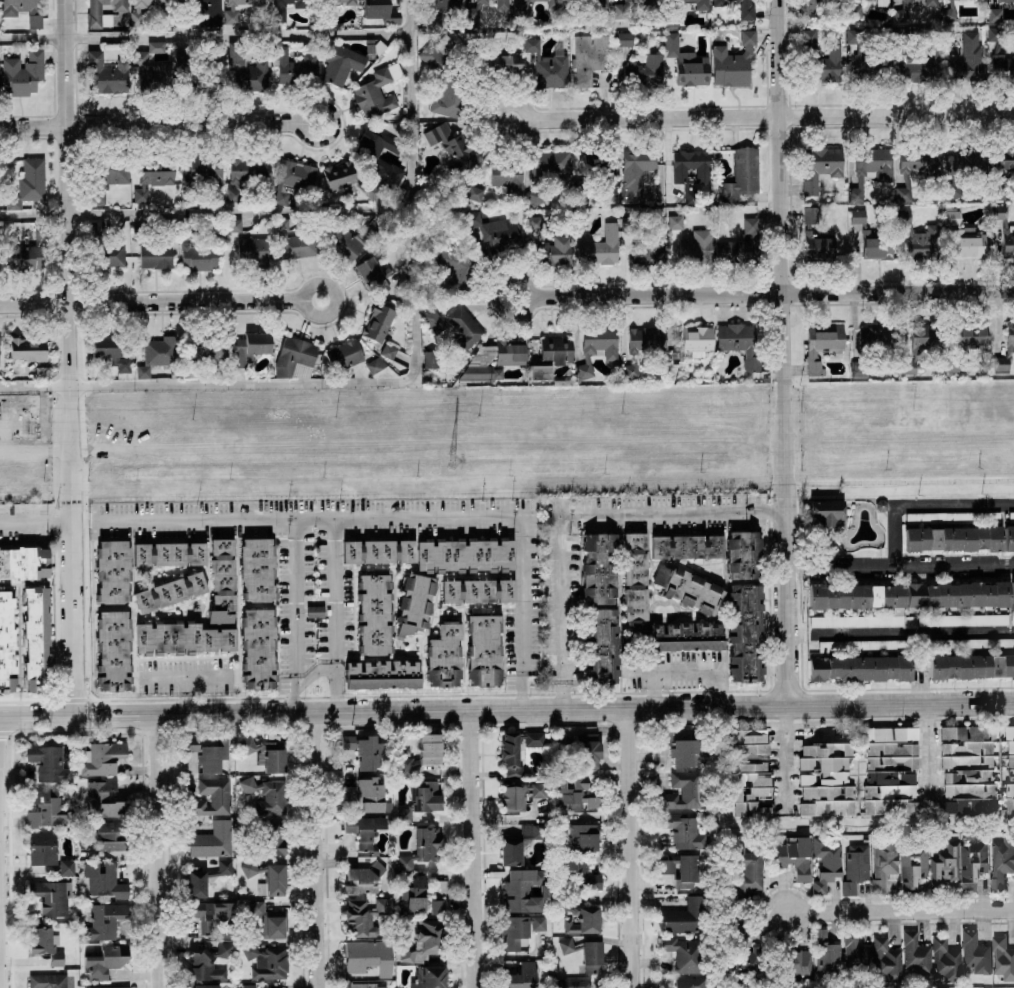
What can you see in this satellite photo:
building: (530, 0)
building: (1006, 0)
building: (719, 2)
building: (883, 2)
building: (552, 3)
building: (931, 3)
building: (502, 4)
building: (701, 4)
building: (809, 5)
building: (285, 8)
building: (625, 8)
building: (521, 9)
building: (746, 9)
building: (853, 9)
building: (382, 11)
building: (473, 11)
building: (902, 12)
building: (199, 13)
building: (327, 13)
building: (570, 13)
building: (949, 13)
building: (672, 14)
building: (995, 14)
building: (9, 15)
building: (231, 17)
building: (138, 19)
building: (99, 21)
building: (433, 23)
building: (612, 35)
building: (903, 38)
building: (625, 39)
building: (671, 44)
building: (1000, 54)
building: (588, 57)
building: (819, 57)
building: (868, 58)
building: (348, 60)
building: (967, 60)
building: (733, 61)
building: (503, 62)
building: (296, 64)
building: (548, 65)
building: (921, 65)
building: (198, 66)
building: (247, 68)
building: (154, 69)
building: (645, 71)
building: (692, 71)
building: (23, 73)
building: (108, 73)
building: (445, 77)
building: (377, 91)
road: (769, 118)
road: (524, 121)
road: (330, 122)
road: (149, 124)
building: (401, 127)
building: (452, 147)
building: (1004, 158)
building: (379, 163)
building: (550, 165)
building: (820, 165)
building: (916, 166)
building: (870, 167)
building: (636, 171)
building: (203, 172)
building: (509, 173)
building: (703, 173)
building: (107, 174)
building: (247, 174)
building: (742, 174)
building: (595, 175)
building: (153, 176)
building: (293, 177)
building: (955, 177)
building: (345, 178)
building: (28, 183)
building: (474, 192)
building: (997, 192)
building: (537, 194)
road: (412, 209)
road: (205, 211)
building: (583, 217)
building: (534, 222)
building: (629, 223)
building: (214, 225)
building: (235, 225)
building: (1004, 229)
building: (140, 230)
building: (497, 233)
building: (816, 235)
building: (965, 236)
building: (918, 237)
building: (872, 239)
building: (691, 240)
building: (294, 241)
building: (347, 242)
building: (740, 244)
building: (103, 247)
building: (600, 247)
building: (649, 249)
building: (253, 250)
building: (555, 251)
building: (196, 253)
building: (1, 254)
building: (28, 255)
building: (156, 255)
road: (70, 260)
building: (453, 263)
building: (374, 275)
road: (769, 293)
road: (525, 296)
road: (300, 300)
road: (150, 304)
building: (434, 320)
building: (378, 322)
building: (464, 327)
building: (1010, 336)
building: (645, 339)
building: (967, 342)
building: (693, 343)
building: (742, 343)
building: (922, 343)
building: (823, 345)
building: (597, 346)
building: (872, 346)
building: (250, 347)
building: (27, 348)
building: (206, 348)
building: (388, 350)
building: (110, 351)
road: (786, 352)
building: (158, 354)
building: (294, 354)
building: (344, 354)
building: (548, 354)
building: (983, 355)
building: (430, 359)
building: (510, 359)
building: (375, 364)
building: (188, 370)
building: (630, 370)
building: (42, 372)
building: (765, 378)
power tower: (451, 462)
road: (923, 506)
building: (826, 511)
road: (575, 514)
building: (1011, 516)
building: (953, 517)
road: (297, 519)
road: (36, 521)
building: (1008, 537)
building: (954, 538)
building: (688, 546)
building: (378, 551)
building: (169, 553)
building: (743, 554)
building: (466, 555)
building: (24, 562)
road: (900, 564)
building: (258, 568)
building: (599, 568)
building: (113, 571)
building: (635, 577)
building: (223, 581)
building: (688, 588)
building: (478, 590)
building: (170, 591)
building: (1012, 593)
building: (958, 594)
building: (857, 596)
building: (415, 603)
building: (315, 610)
building: (375, 611)
road: (523, 613)
road: (293, 615)
road: (335, 615)
road: (73, 618)
building: (1012, 618)
building: (963, 619)
building: (856, 620)
building: (745, 632)
road: (914, 632)
building: (181, 637)
building: (687, 637)
building: (37, 639)
building: (7, 641)
building: (601, 643)
building: (972, 643)
building: (865, 645)
building: (484, 646)
building: (258, 647)
building: (112, 649)
building: (445, 655)
building: (971, 666)
building: (861, 667)
road: (689, 671)
building: (384, 674)
road: (187, 676)
road: (654, 689)
road: (187, 695)
road: (507, 710)
building: (680, 748)
building: (364, 749)
building: (517, 749)
building: (584, 749)
building: (211, 753)
building: (268, 753)
building: (421, 754)
road: (927, 756)
building: (100, 757)
road: (783, 759)
building: (49, 762)
building: (968, 769)
building: (890, 770)
building: (1009, 770)
building: (828, 772)
building: (750, 774)
building: (681, 791)
building: (366, 793)
building: (575, 793)
building: (266, 794)
building: (521, 794)
building: (211, 796)
building: (104, 799)
building: (420, 799)
building: (388, 806)
building: (45, 808)
building: (681, 828)
building: (364, 832)
building: (579, 832)
building: (106, 835)
building: (272, 838)
building: (211, 839)
building: (518, 843)
road: (635, 847)
building: (423, 848)
road: (475, 849)
road: (317, 850)
building: (47, 851)
road: (160, 851)
building: (793, 855)
building: (883, 861)
building: (1002, 861)
building: (972, 863)
building: (826, 864)
building: (913, 865)
building: (855, 867)
building: (681, 868)
building: (749, 869)
building: (577, 873)
building: (364, 875)
building: (268, 877)
building: (104, 879)
building: (196, 885)
building: (526, 890)
building: (53, 895)
building: (418, 895)
road: (901, 910)
park: (720, 911)
building: (212, 915)
building: (363, 915)
building: (579, 916)
building: (684, 916)
building: (268, 919)
building: (105, 921)
building: (519, 930)
building: (423, 940)
building: (47, 945)
building: (746, 951)
building: (585, 953)
building: (685, 953)
building: (826, 953)
building: (916, 953)
building: (975, 953)
building: (873, 956)
building: (1003, 957)
building: (106, 960)
building: (267, 960)
building: (946, 960)
building: (365, 962)
building: (797, 962)
building: (209, 963)
building: (519, 976)
building: (430, 977)
building: (52, 981)
building: (690, 982)
building: (574, 983)
building: (249, 985)
building: (364, 985)
building: (203, 986)
building: (107, 987)
park: (948, 987)

